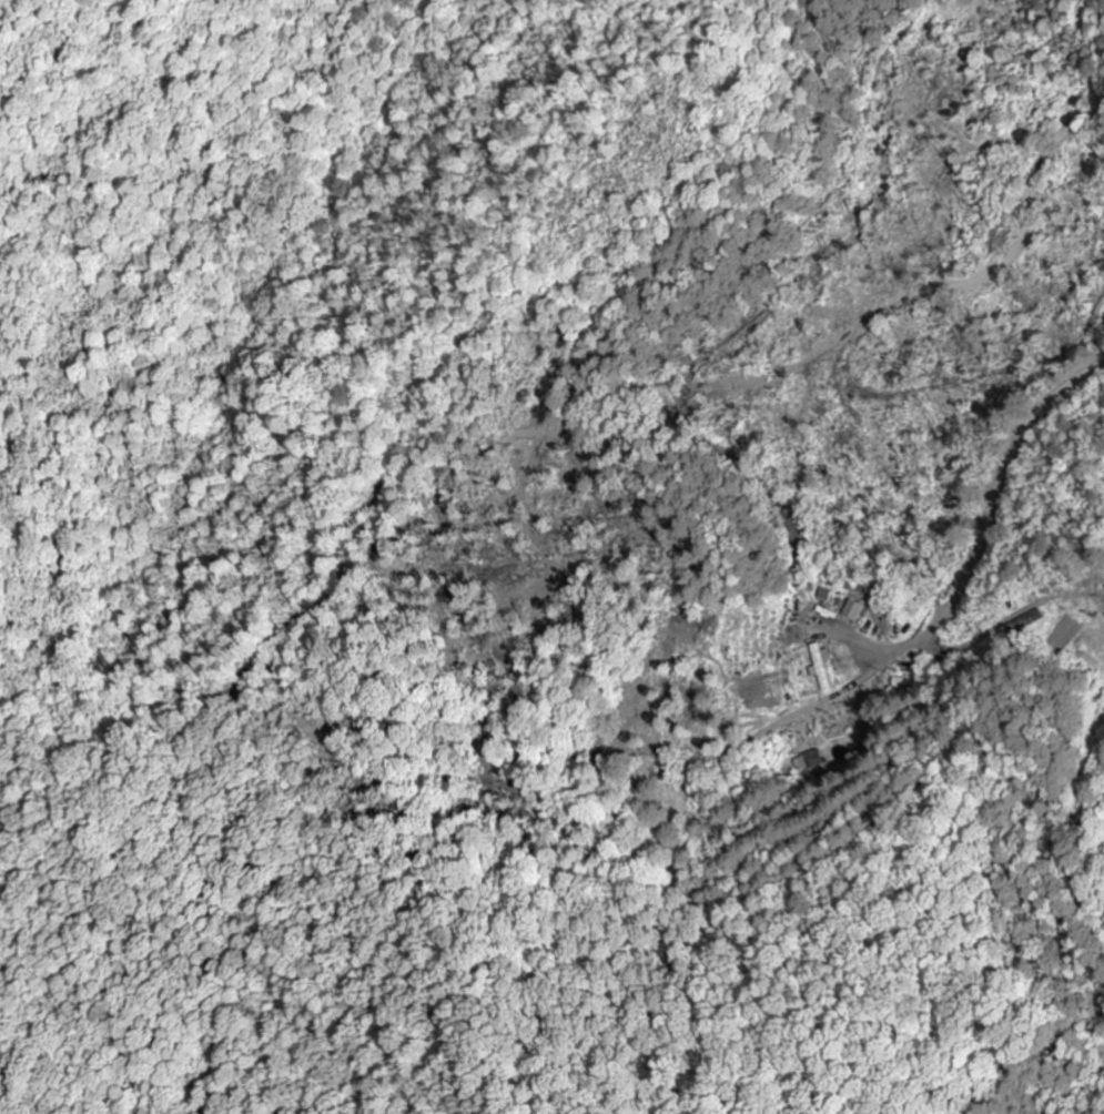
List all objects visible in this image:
building: (862, 611)
building: (830, 667)

